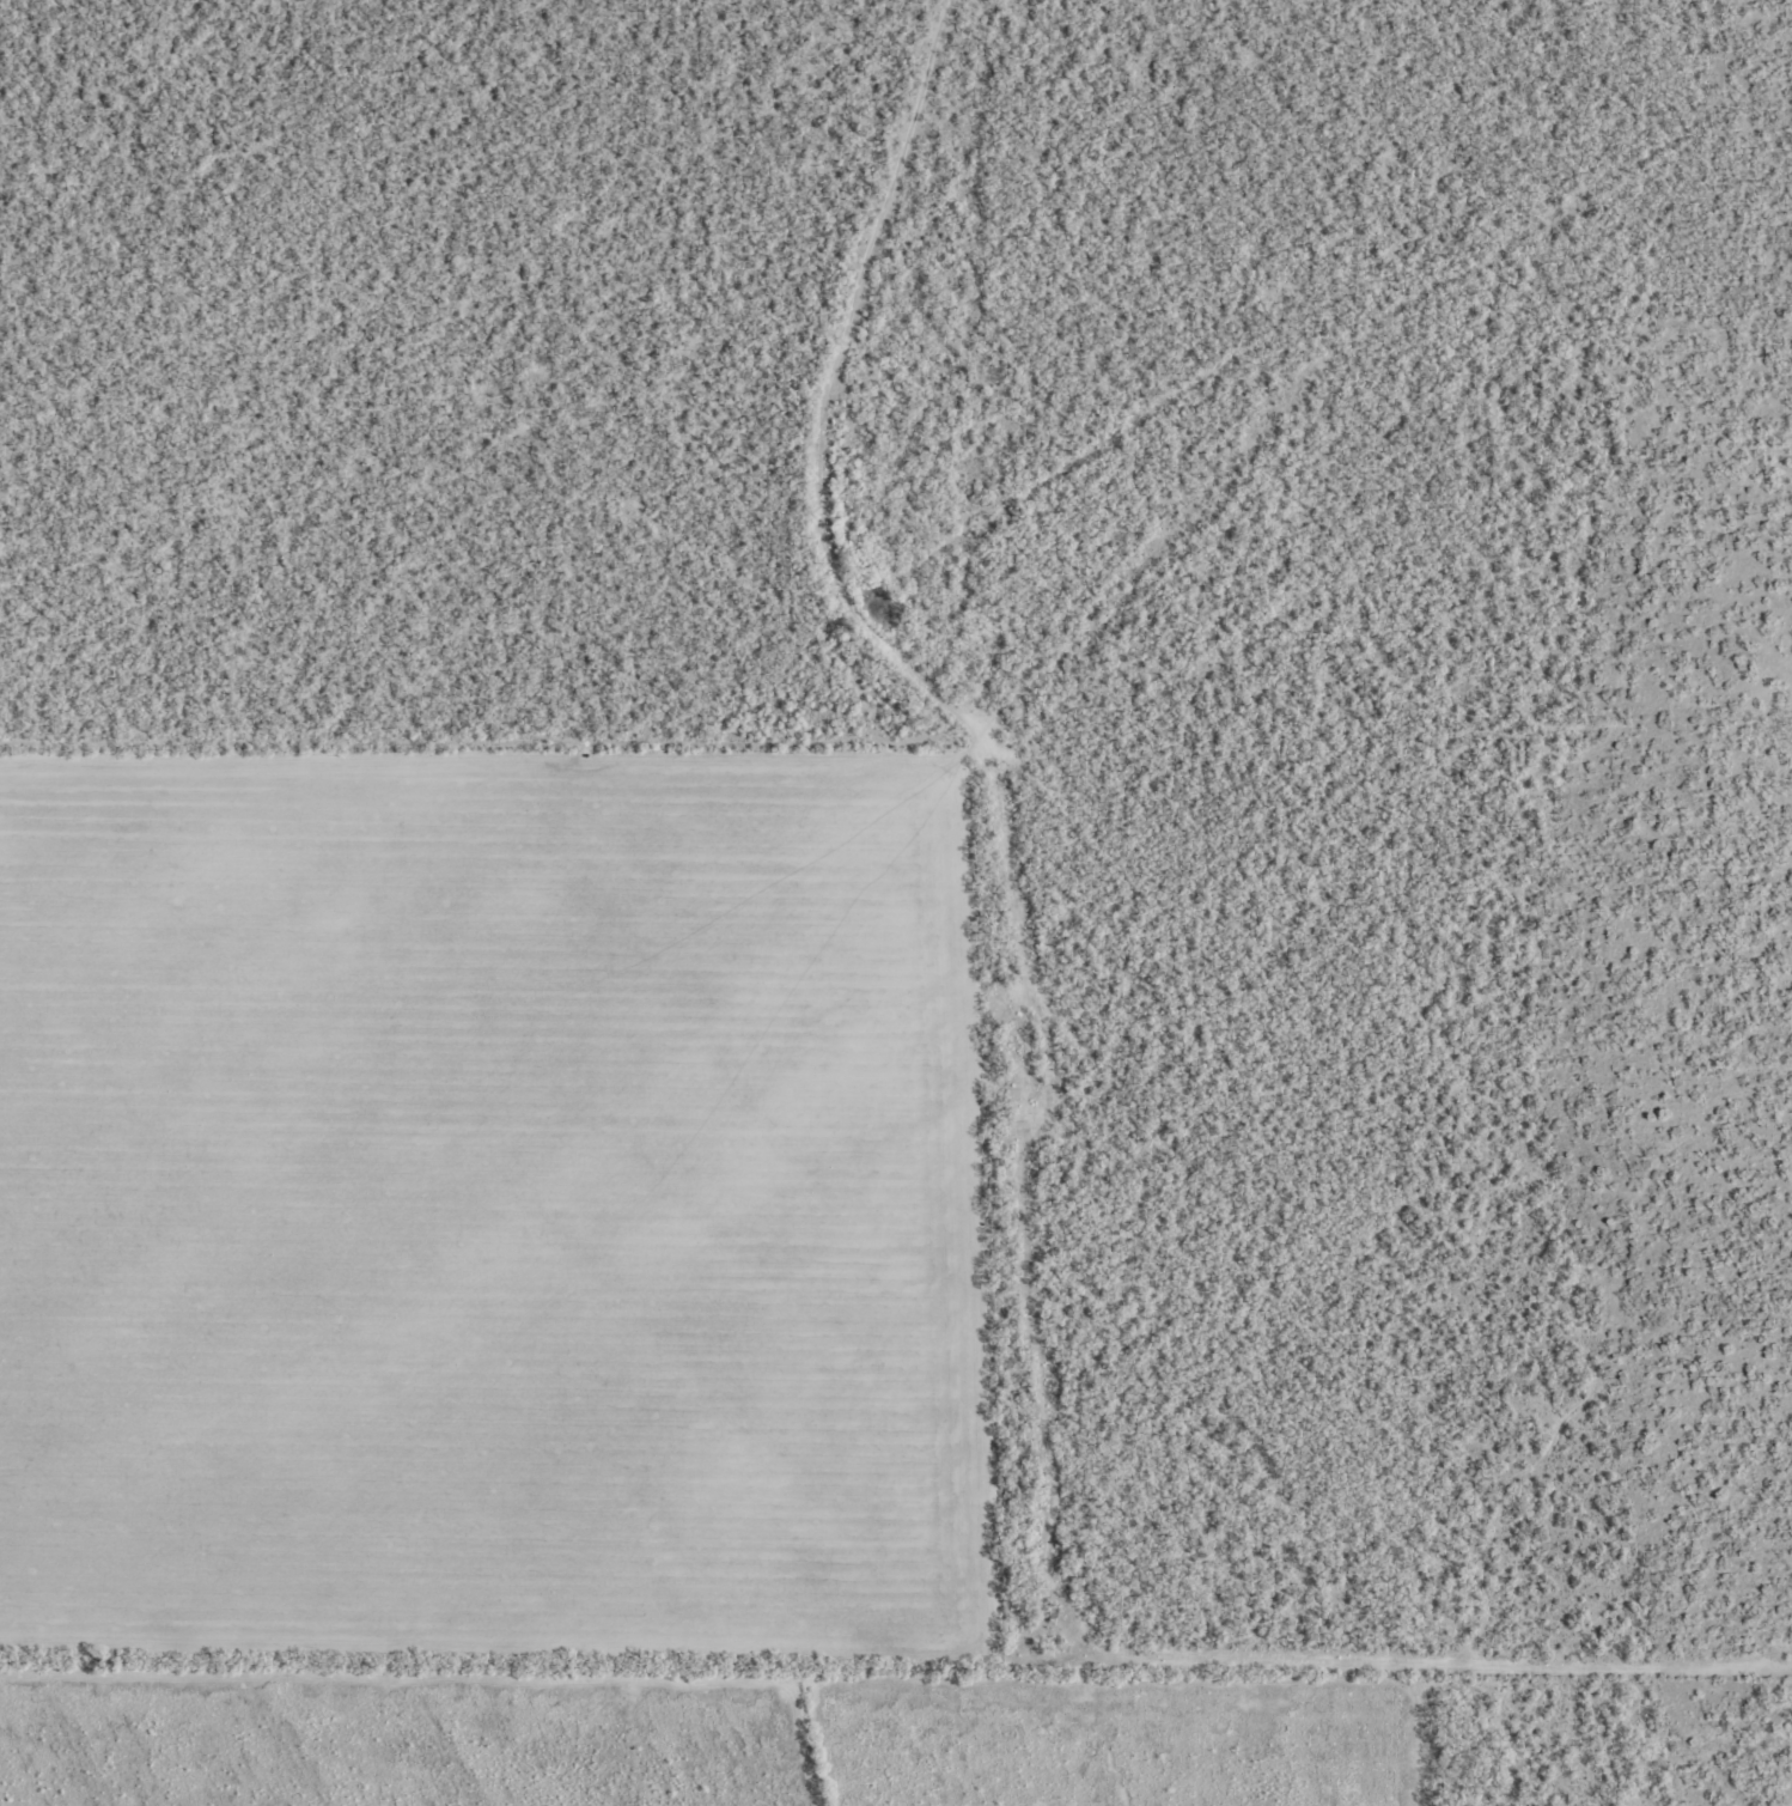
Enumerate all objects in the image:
road: (1414, 773)

